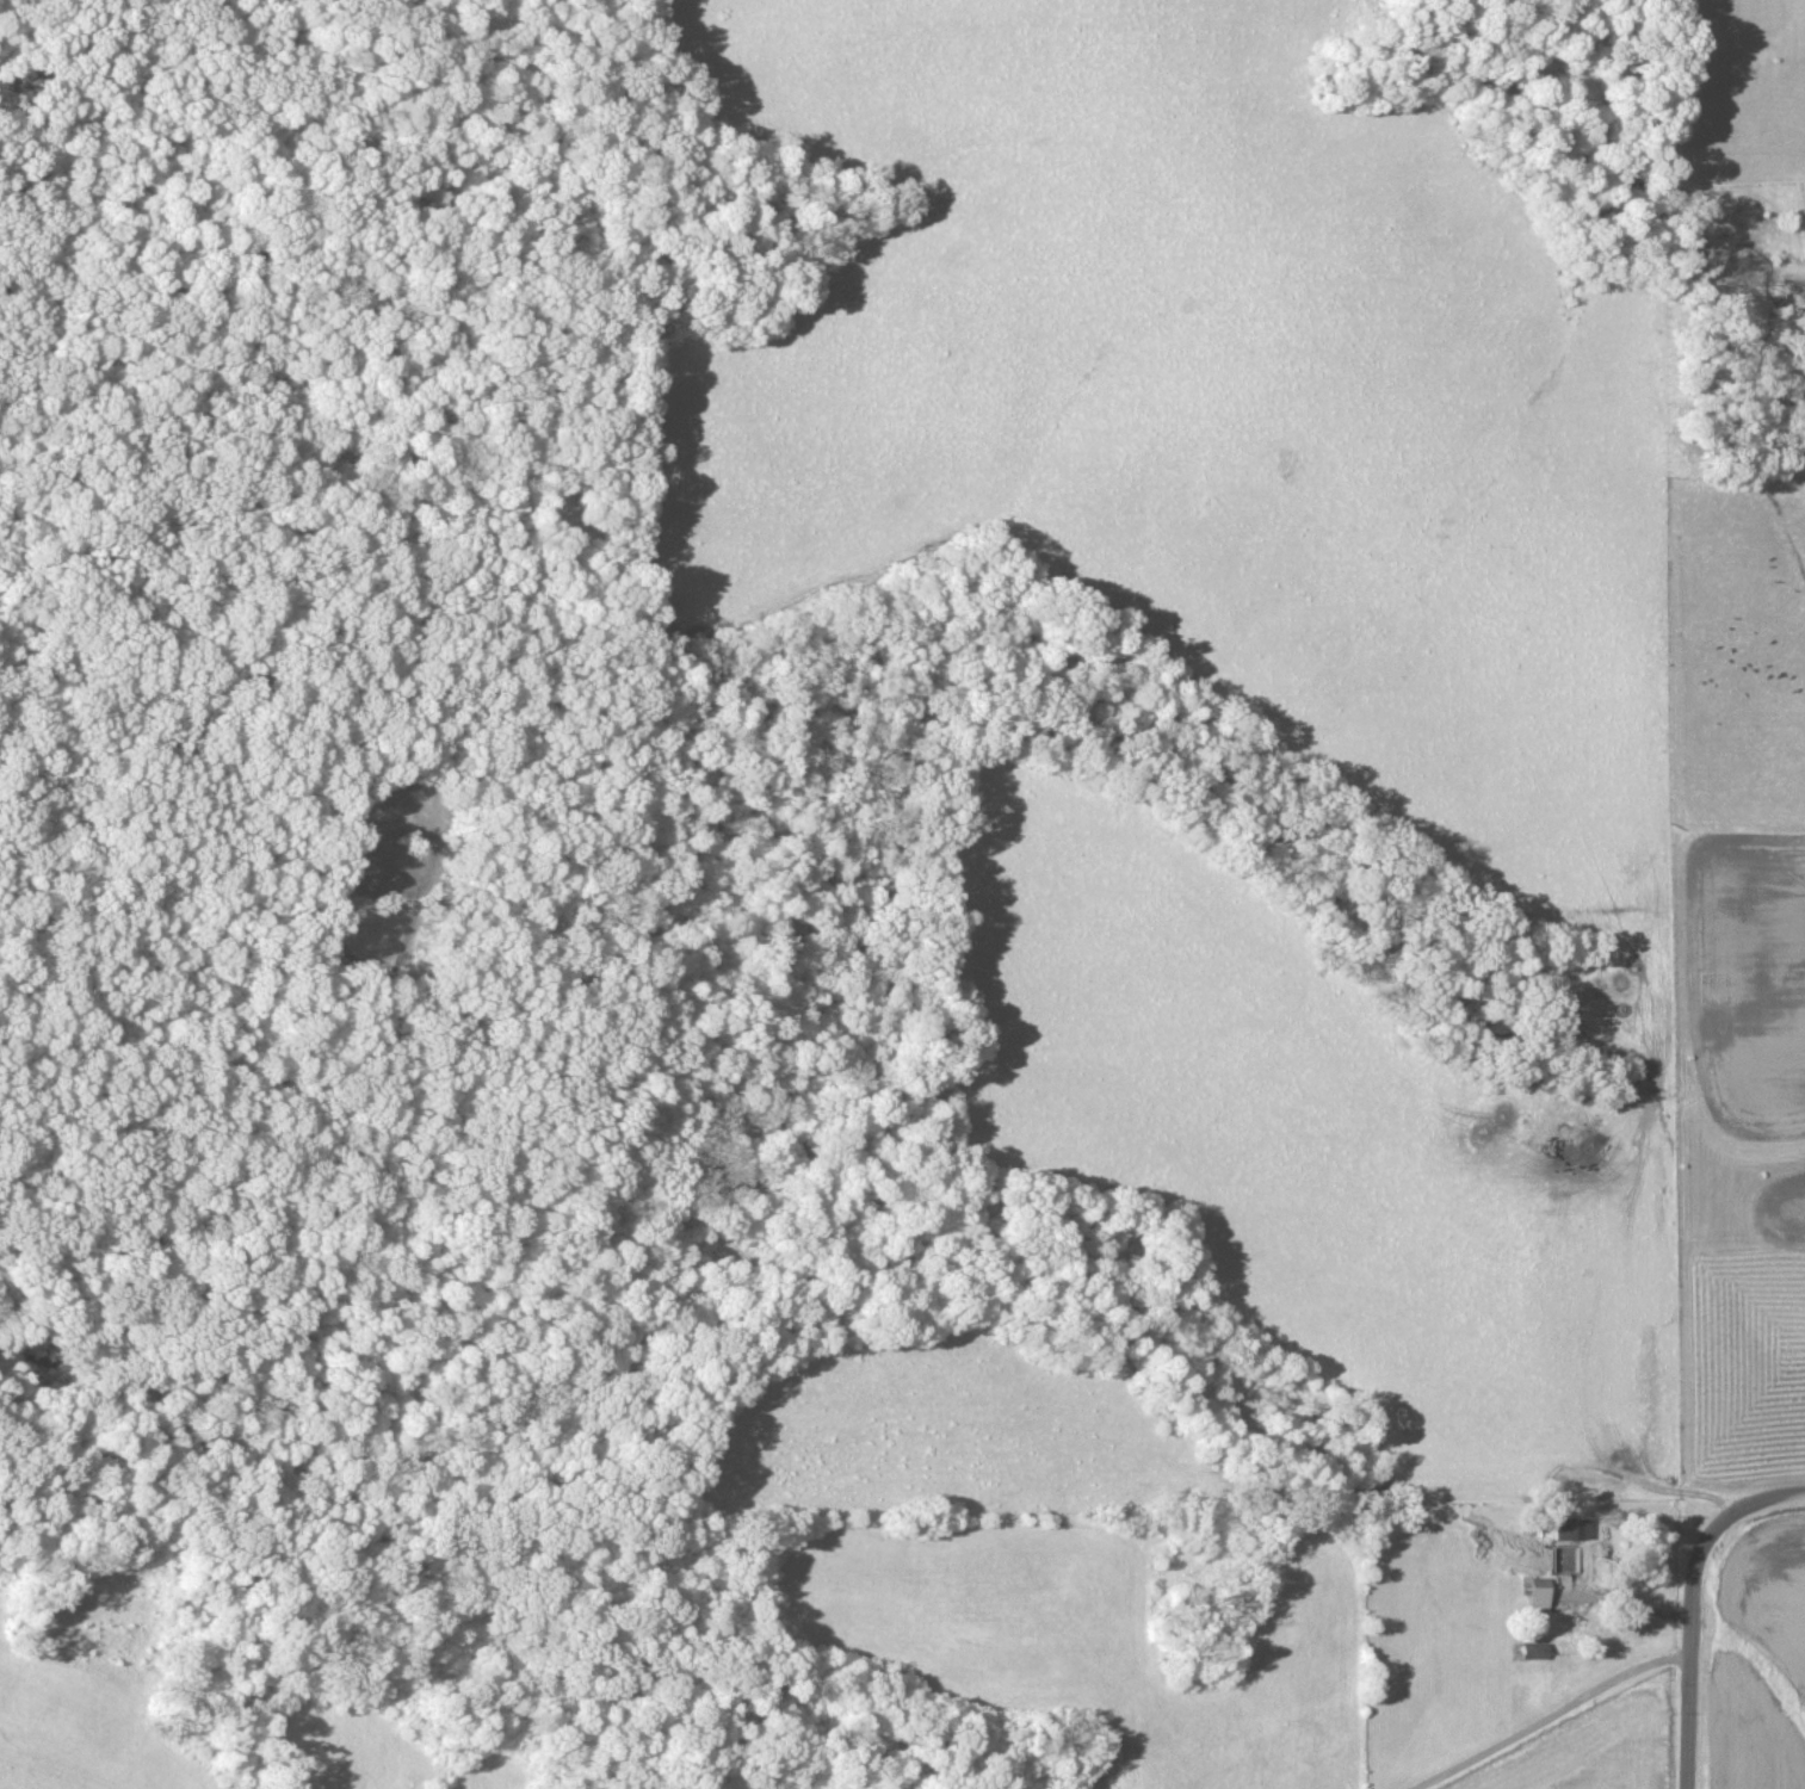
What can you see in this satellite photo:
building: (1570, 1534)
road: (1700, 1609)
building: (1535, 1653)
road: (1565, 1723)

